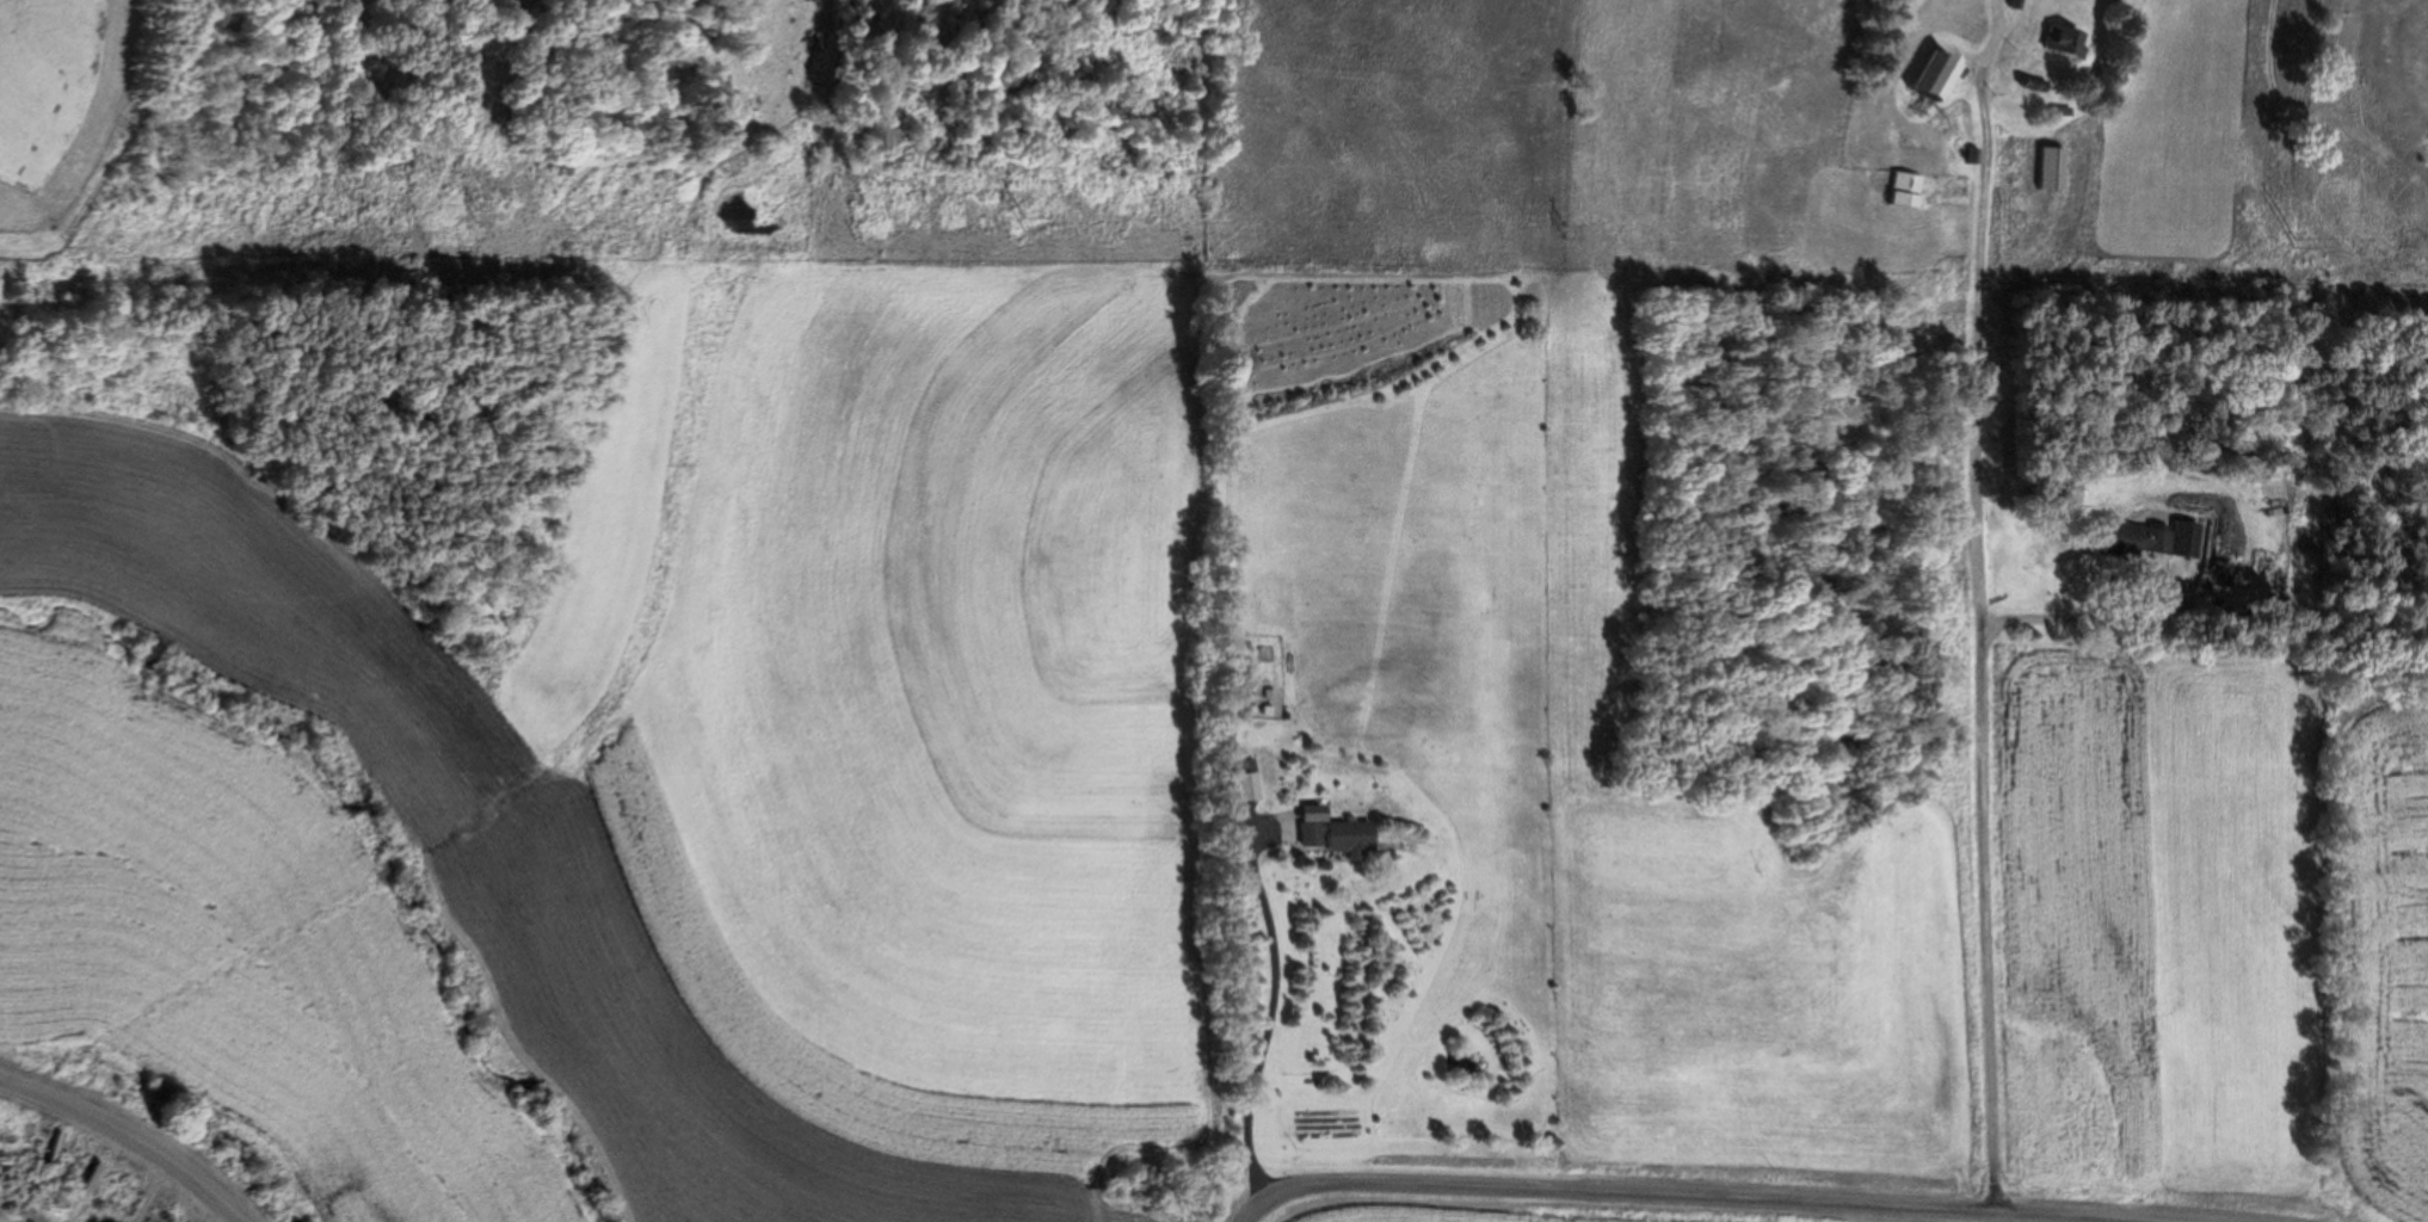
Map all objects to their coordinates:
building: (2060, 43)
building: (1941, 76)
building: (1909, 192)
building: (2138, 542)
road: (1999, 622)
building: (1245, 783)
building: (1339, 839)
road: (123, 1141)
road: (1709, 1193)

